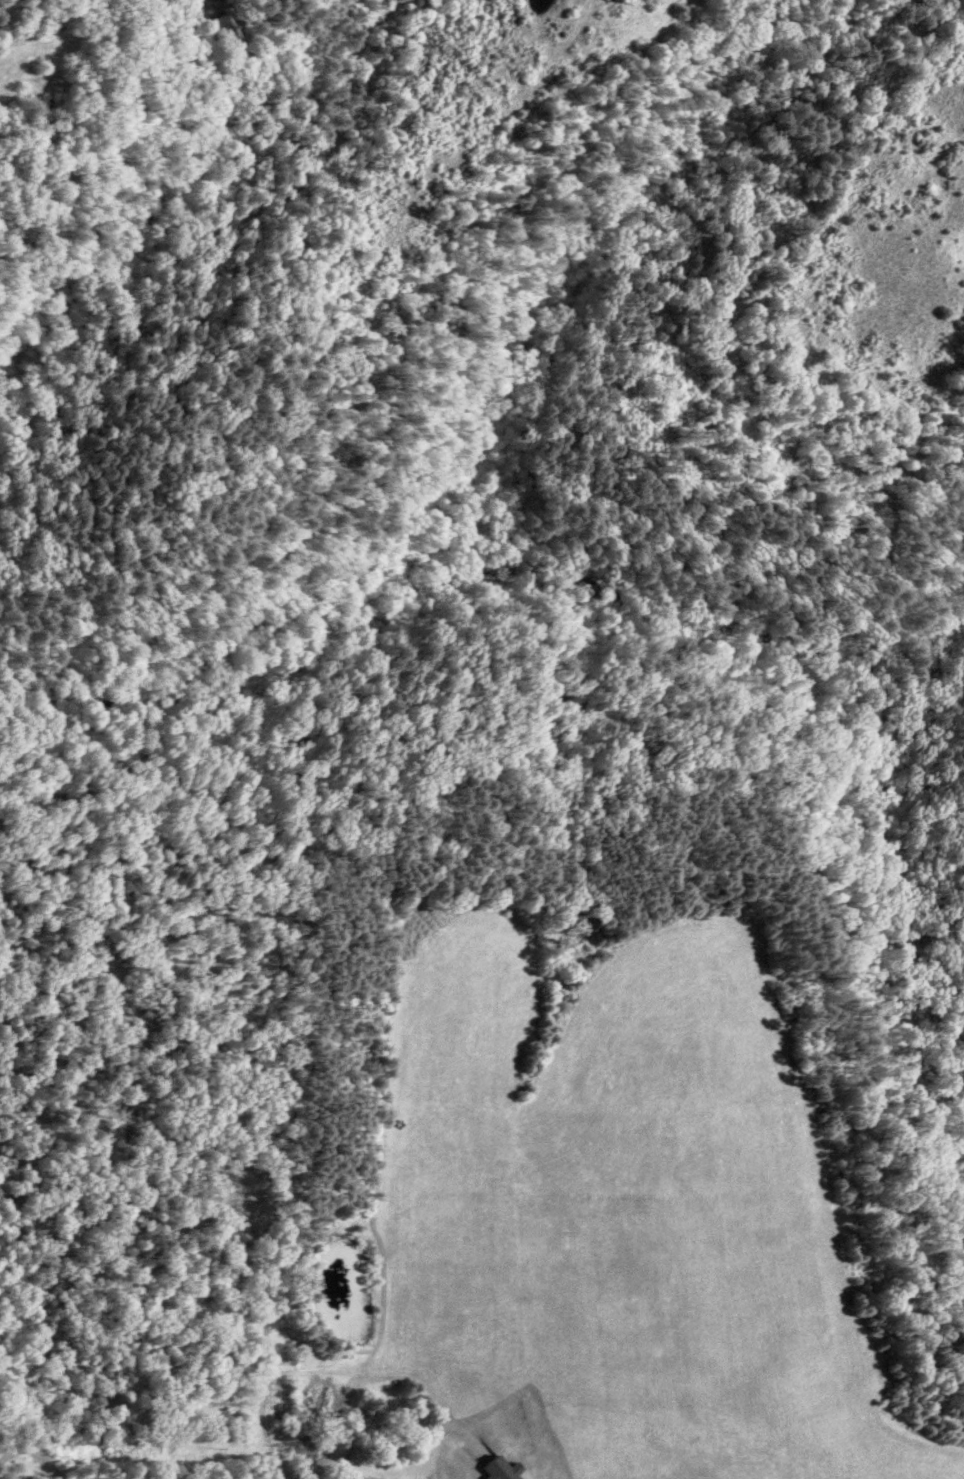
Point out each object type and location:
building: (234, 28)
road: (278, 1406)
building: (508, 1468)

